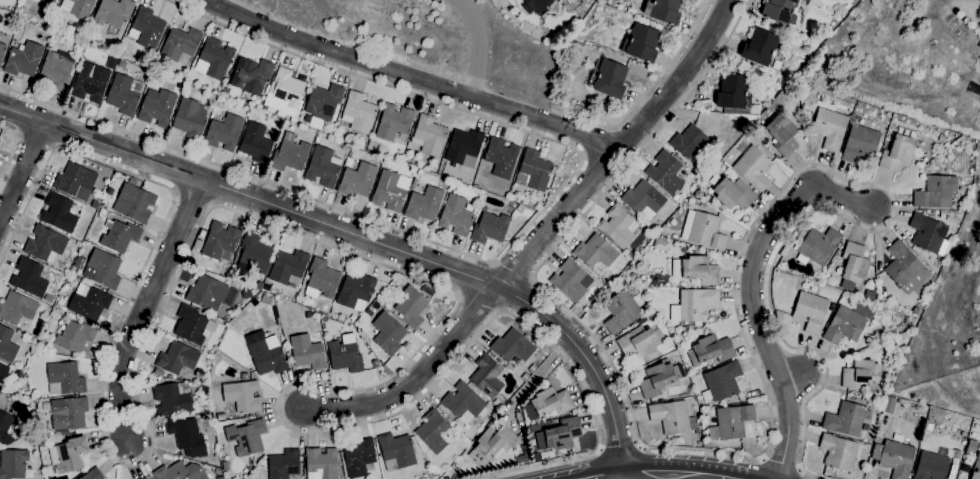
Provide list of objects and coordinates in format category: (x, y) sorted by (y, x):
building: (47, 1)
building: (536, 6)
building: (81, 8)
building: (663, 11)
building: (780, 11)
building: (112, 13)
building: (147, 28)
building: (641, 43)
building: (180, 44)
road: (481, 45)
building: (762, 49)
building: (2, 51)
building: (214, 59)
building: (23, 60)
building: (121, 64)
building: (56, 72)
road: (659, 75)
building: (252, 76)
road: (409, 78)
building: (608, 79)
building: (90, 83)
building: (287, 88)
building: (733, 92)
building: (124, 94)
building: (323, 102)
building: (220, 105)
building: (157, 109)
building: (247, 109)
building: (358, 113)
building: (189, 119)
road: (594, 120)
building: (393, 122)
building: (830, 128)
building: (223, 133)
building: (782, 135)
building: (429, 136)
building: (687, 141)
road: (35, 142)
building: (255, 143)
building: (859, 144)
building: (363, 145)
road: (12, 146)
building: (463, 148)
road: (620, 148)
building: (898, 152)
building: (289, 155)
building: (501, 158)
building: (322, 167)
building: (753, 168)
building: (434, 169)
building: (533, 171)
road: (22, 172)
building: (664, 172)
building: (74, 179)
building: (357, 180)
building: (132, 182)
building: (451, 187)
building: (389, 191)
building: (731, 192)
building: (936, 192)
building: (698, 194)
building: (675, 197)
building: (643, 200)
building: (134, 203)
building: (424, 204)
building: (94, 205)
building: (483, 209)
building: (58, 213)
building: (931, 213)
building: (455, 216)
building: (618, 227)
building: (489, 228)
building: (703, 231)
building: (202, 233)
building: (928, 235)
building: (119, 236)
road: (360, 237)
building: (220, 241)
road: (315, 241)
road: (515, 242)
building: (45, 245)
building: (198, 245)
building: (660, 245)
building: (818, 246)
building: (255, 253)
building: (595, 254)
building: (629, 255)
building: (79, 263)
building: (854, 263)
building: (937, 265)
building: (640, 267)
building: (288, 268)
building: (904, 268)
building: (102, 270)
building: (696, 270)
building: (223, 273)
building: (632, 277)
building: (29, 278)
building: (321, 280)
building: (569, 280)
building: (416, 283)
building: (259, 286)
building: (355, 290)
road: (751, 291)
building: (206, 292)
building: (49, 299)
building: (266, 301)
building: (89, 304)
building: (693, 305)
road: (144, 307)
building: (17, 308)
building: (411, 308)
building: (621, 312)
building: (809, 312)
building: (308, 315)
building: (652, 315)
building: (641, 321)
building: (192, 326)
building: (844, 326)
building: (682, 330)
building: (388, 334)
building: (74, 337)
building: (640, 342)
building: (887, 344)
building: (7, 345)
building: (512, 346)
building: (710, 350)
building: (307, 352)
building: (265, 354)
building: (345, 355)
building: (379, 355)
building: (176, 358)
road: (754, 365)
building: (3, 373)
building: (860, 374)
building: (20, 375)
building: (198, 375)
building: (486, 376)
building: (244, 377)
road: (536, 377)
road: (415, 378)
building: (64, 379)
building: (656, 379)
building: (155, 380)
building: (721, 382)
building: (242, 397)
building: (171, 400)
building: (462, 403)
building: (548, 403)
building: (902, 403)
building: (889, 405)
building: (67, 413)
building: (220, 417)
building: (672, 418)
building: (846, 420)
building: (733, 421)
building: (932, 421)
building: (4, 424)
building: (929, 427)
building: (433, 432)
building: (558, 435)
building: (187, 437)
building: (246, 437)
building: (41, 443)
building: (491, 445)
building: (704, 445)
road: (619, 447)
building: (395, 452)
building: (838, 452)
building: (894, 455)
building: (67, 456)
building: (535, 457)
building: (359, 458)
building: (521, 459)
building: (13, 464)
building: (284, 464)
building: (321, 464)
building: (931, 466)
building: (976, 468)
building: (181, 472)
building: (93, 474)
road: (612, 476)
road: (669, 476)
building: (143, 478)
building: (145, 478)
building: (220, 478)

